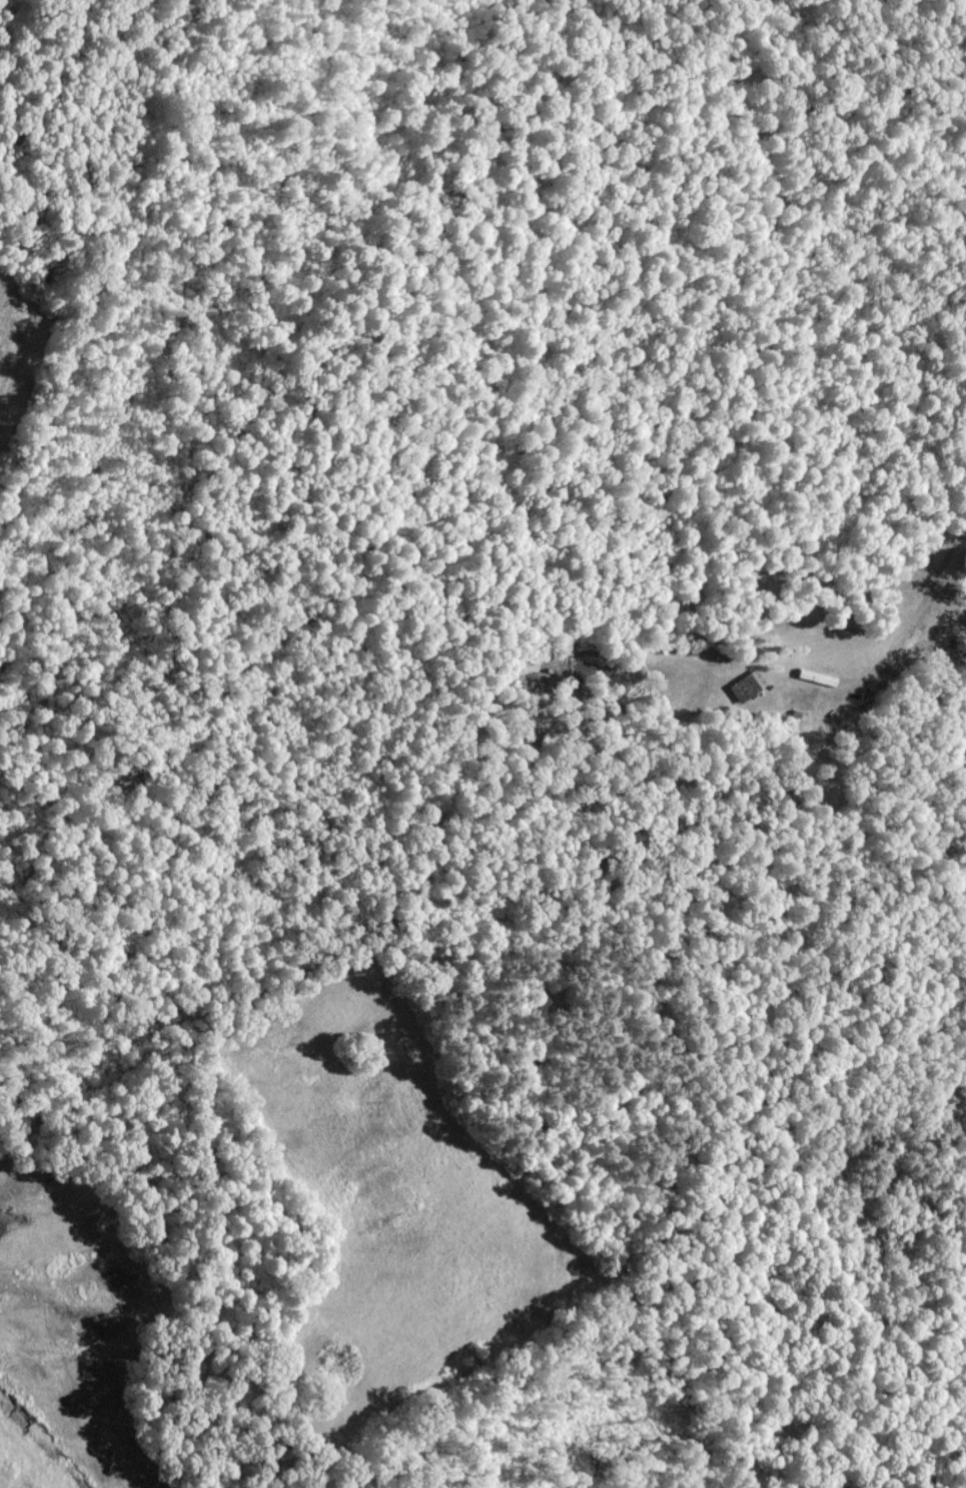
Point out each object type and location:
building: (750, 688)

